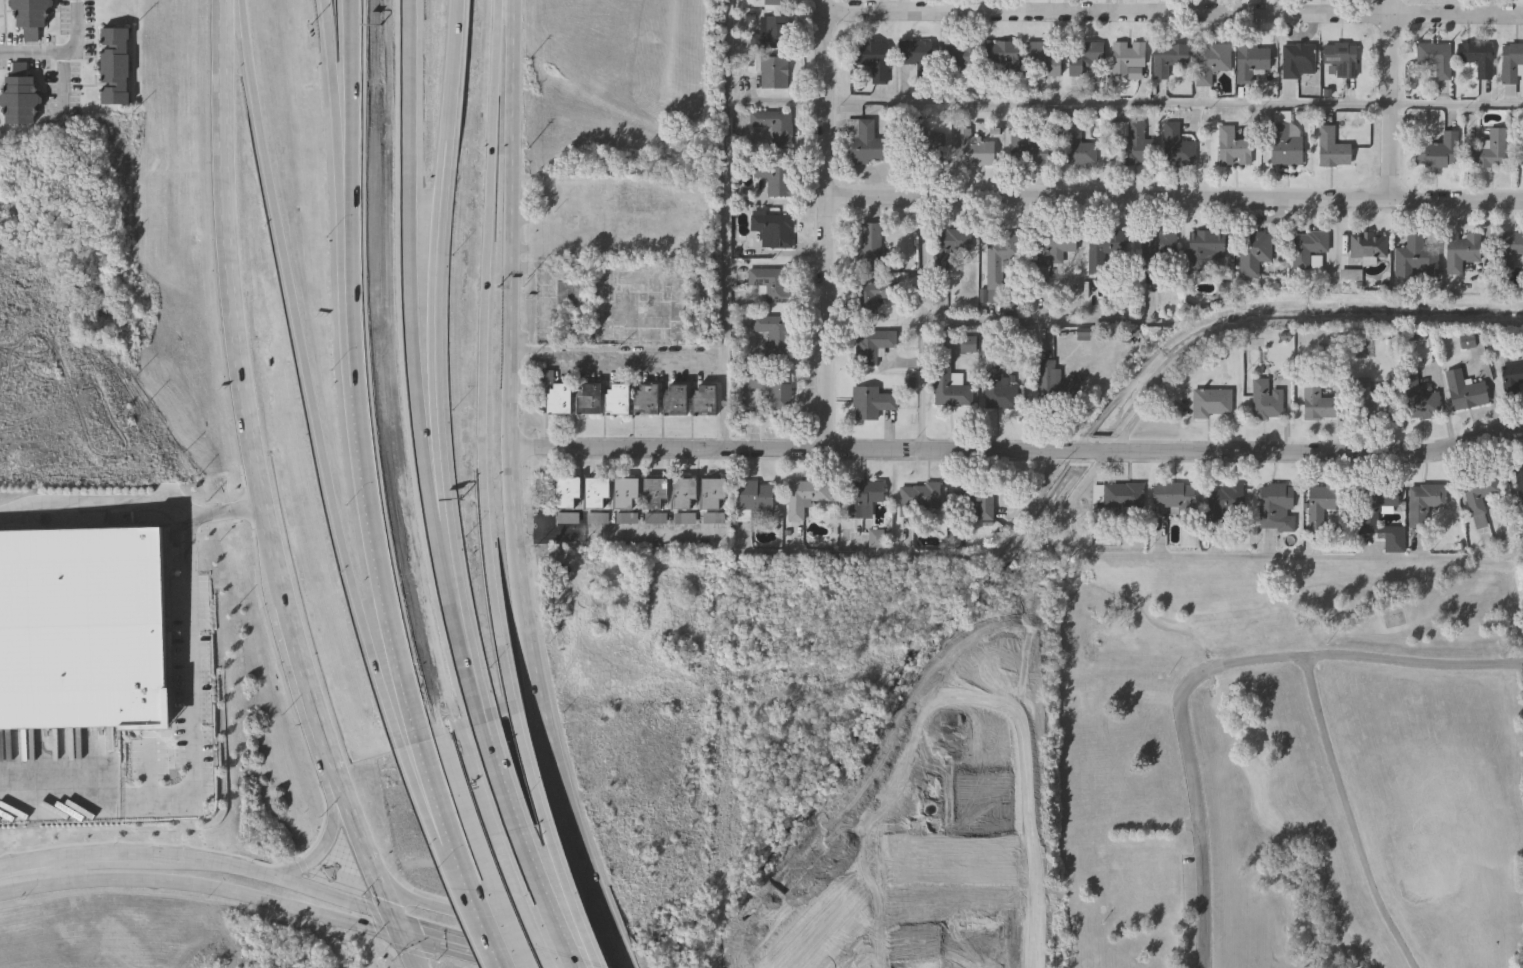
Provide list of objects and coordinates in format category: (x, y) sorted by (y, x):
building: (773, 3)
road: (1173, 12)
building: (27, 17)
building: (770, 35)
road: (62, 53)
building: (912, 54)
building: (1001, 54)
building: (961, 55)
building: (1083, 57)
building: (1045, 59)
building: (872, 60)
building: (1168, 60)
building: (1436, 60)
building: (1477, 60)
building: (1127, 61)
building: (1342, 61)
building: (1298, 63)
building: (1211, 64)
building: (1251, 64)
building: (112, 65)
building: (1511, 65)
building: (773, 74)
road: (334, 91)
road: (351, 91)
building: (17, 99)
road: (1391, 99)
road: (777, 101)
road: (1173, 104)
building: (774, 128)
building: (864, 145)
building: (1129, 145)
building: (1077, 147)
building: (1177, 148)
building: (1233, 149)
building: (962, 150)
building: (1332, 150)
building: (1029, 151)
building: (1492, 153)
building: (1438, 154)
building: (774, 179)
road: (1174, 197)
road: (440, 213)
road: (728, 225)
road: (826, 225)
building: (771, 230)
building: (1312, 245)
building: (950, 246)
building: (1369, 246)
building: (872, 248)
building: (1204, 248)
building: (1052, 250)
building: (1510, 250)
building: (1157, 251)
building: (1461, 252)
building: (1103, 254)
building: (1254, 254)
building: (1417, 259)
building: (999, 263)
road: (410, 276)
building: (769, 284)
building: (871, 298)
road: (1035, 322)
road: (923, 324)
building: (774, 334)
building: (871, 346)
building: (967, 346)
road: (618, 355)
road: (481, 358)
road: (309, 377)
building: (1512, 377)
building: (1055, 385)
building: (772, 389)
building: (949, 389)
building: (998, 390)
building: (1464, 392)
building: (557, 400)
building: (586, 400)
building: (615, 400)
building: (644, 400)
building: (1417, 400)
building: (673, 401)
building: (703, 401)
building: (1368, 402)
building: (1266, 403)
building: (1316, 403)
building: (870, 404)
building: (1212, 404)
road: (787, 451)
road: (1088, 452)
road: (1317, 456)
road: (367, 465)
building: (1519, 474)
road: (442, 489)
road: (512, 491)
building: (595, 492)
building: (624, 492)
building: (653, 492)
building: (682, 493)
building: (713, 493)
building: (1171, 493)
road: (261, 495)
building: (1120, 496)
building: (754, 497)
building: (807, 497)
building: (863, 497)
building: (920, 497)
building: (979, 498)
building: (1478, 498)
building: (565, 501)
building: (1423, 501)
building: (1318, 504)
building: (1227, 505)
building: (1275, 506)
road: (224, 510)
building: (170, 514)
building: (1367, 516)
building: (597, 517)
road: (618, 538)
road: (925, 557)
road: (1249, 558)
building: (84, 628)
road: (465, 639)
road: (192, 652)
road: (1345, 657)
road: (150, 766)
park: (1292, 766)
road: (447, 802)
road: (438, 805)
road: (1348, 816)
road: (1199, 832)
road: (558, 841)
road: (534, 848)
road: (319, 851)
road: (106, 862)
road: (30, 879)
road: (278, 882)
road: (230, 893)
road: (491, 915)
road: (498, 927)
traffic signals: (397, 928)
road: (466, 948)

